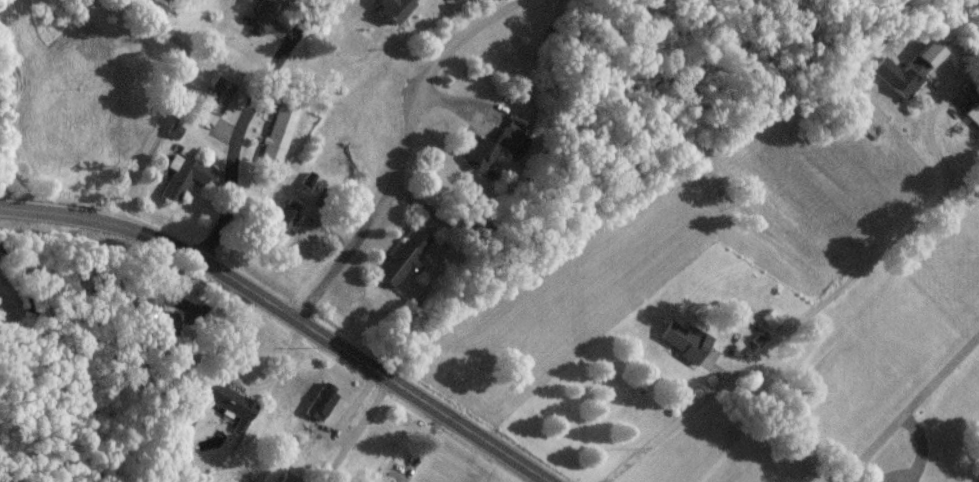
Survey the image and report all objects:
building: (451, 3)
building: (387, 14)
building: (262, 17)
road: (160, 32)
road: (218, 34)
building: (904, 77)
building: (212, 108)
building: (972, 120)
road: (239, 122)
building: (276, 139)
building: (508, 142)
road: (154, 148)
road: (402, 152)
building: (476, 159)
building: (185, 175)
building: (283, 225)
building: (401, 265)
road: (821, 304)
road: (286, 316)
building: (682, 346)
road: (912, 412)

